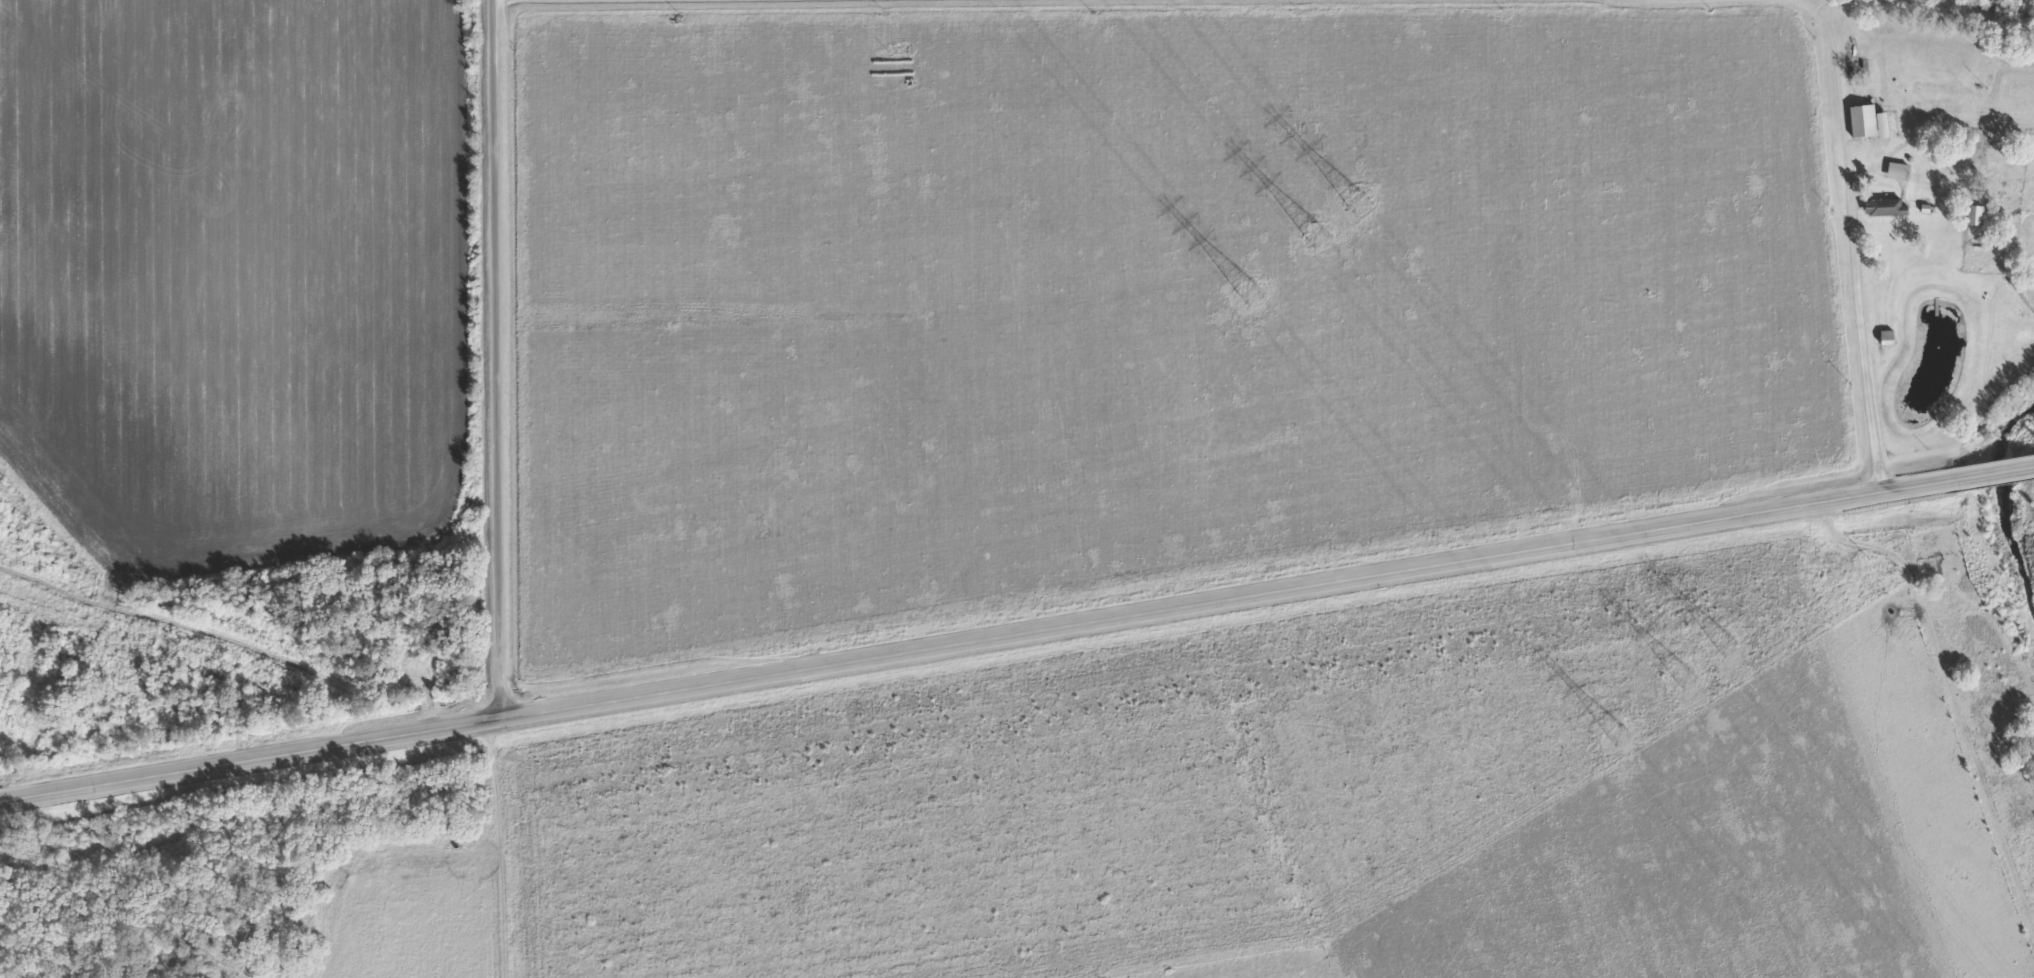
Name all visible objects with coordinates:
road: (525, 6)
building: (1865, 123)
building: (1895, 172)
power tower: (1360, 204)
building: (1882, 208)
building: (1973, 217)
power tower: (1316, 239)
road: (1860, 256)
power tower: (1250, 296)
road: (500, 355)
river: (2000, 512)
road: (1016, 626)
power tower: (1727, 647)
power tower: (1684, 680)
railway: (1017, 689)
power tower: (1620, 734)

